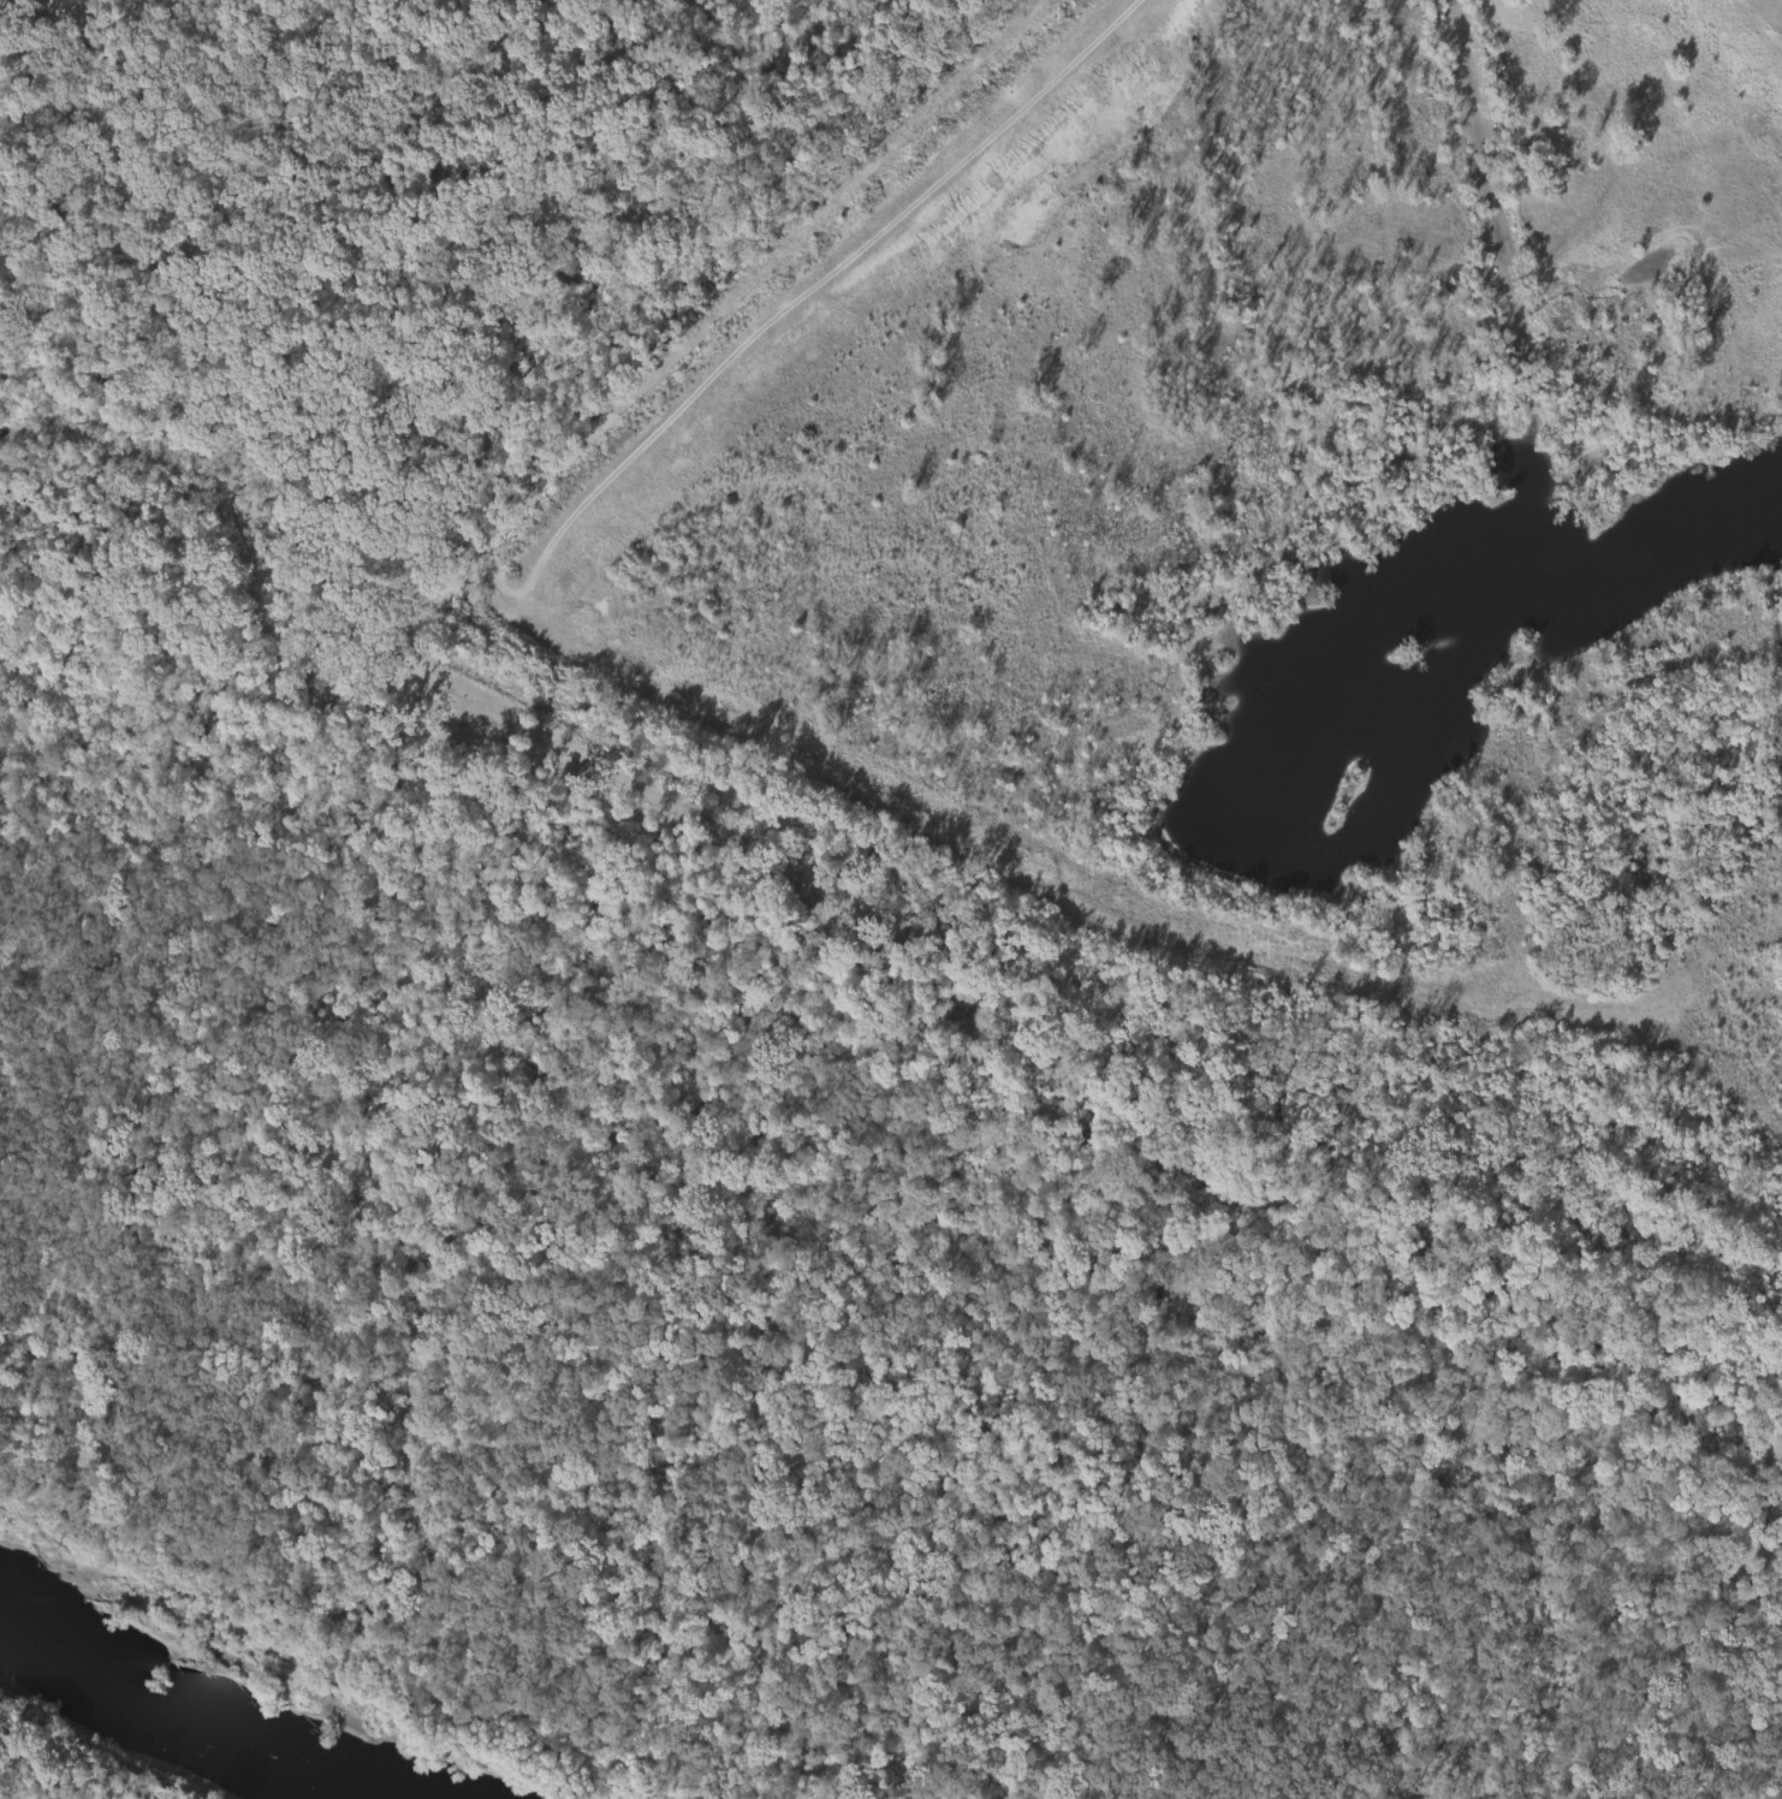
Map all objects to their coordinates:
river: (257, 1714)

